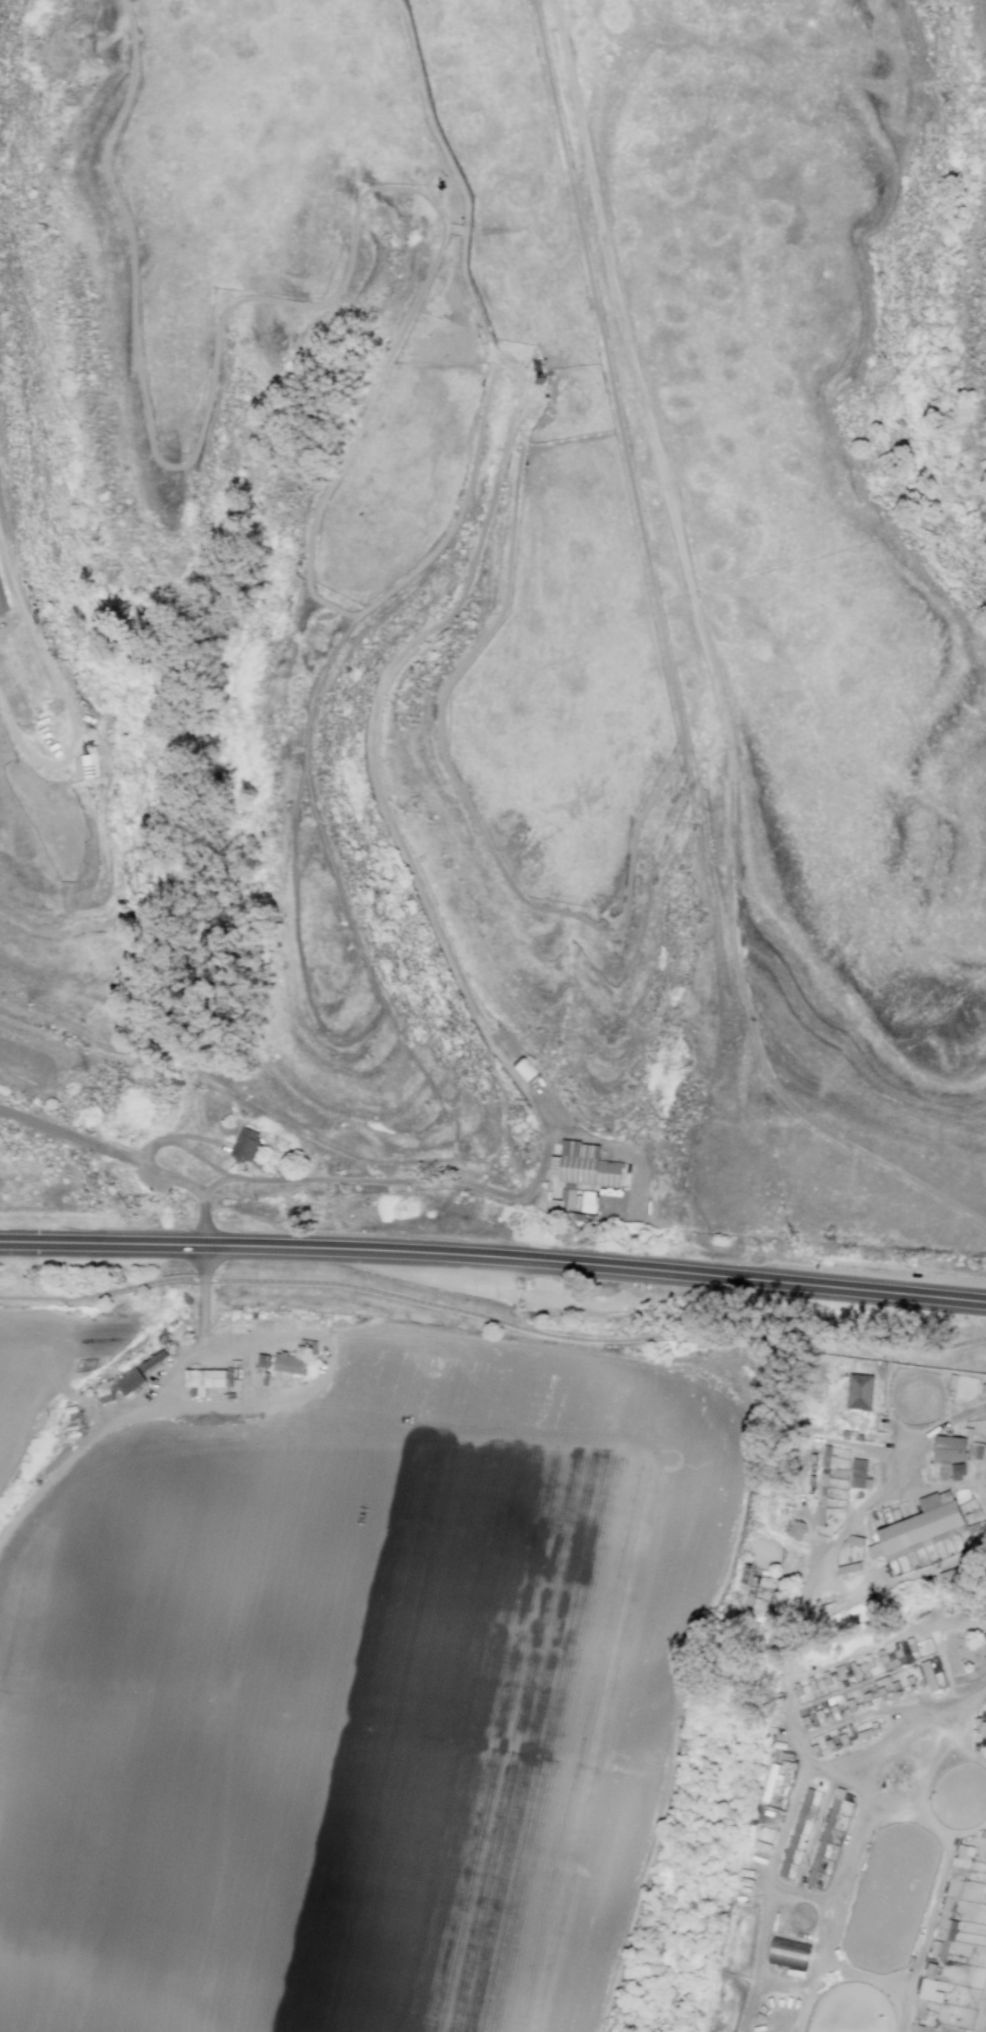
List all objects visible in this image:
building: (554, 372)
crop: (506, 577)
road: (467, 579)
road: (715, 664)
road: (65, 701)
building: (96, 761)
building: (526, 1071)
road: (202, 1141)
building: (249, 1147)
road: (626, 1154)
building: (587, 1172)
road: (165, 1174)
road: (366, 1181)
building: (565, 1204)
road: (493, 1259)
road: (492, 1318)
building: (262, 1360)
building: (293, 1366)
crop: (22, 1368)
road: (64, 1376)
building: (207, 1381)
building: (132, 1383)
building: (858, 1391)
road: (155, 1393)
building: (105, 1396)
road: (82, 1399)
road: (919, 1433)
building: (948, 1446)
building: (958, 1470)
building: (858, 1473)
road: (942, 1485)
road: (741, 1516)
building: (918, 1526)
building: (795, 1529)
building: (855, 1540)
building: (848, 1567)
building: (951, 1573)
road: (847, 1591)
building: (840, 1673)
building: (928, 1675)
crop: (354, 1696)
road: (336, 1724)
crop: (839, 1736)
building: (801, 1832)
building: (829, 1844)
building: (957, 1875)
building: (943, 1938)
building: (788, 1953)
building: (927, 1989)
building: (916, 2028)

